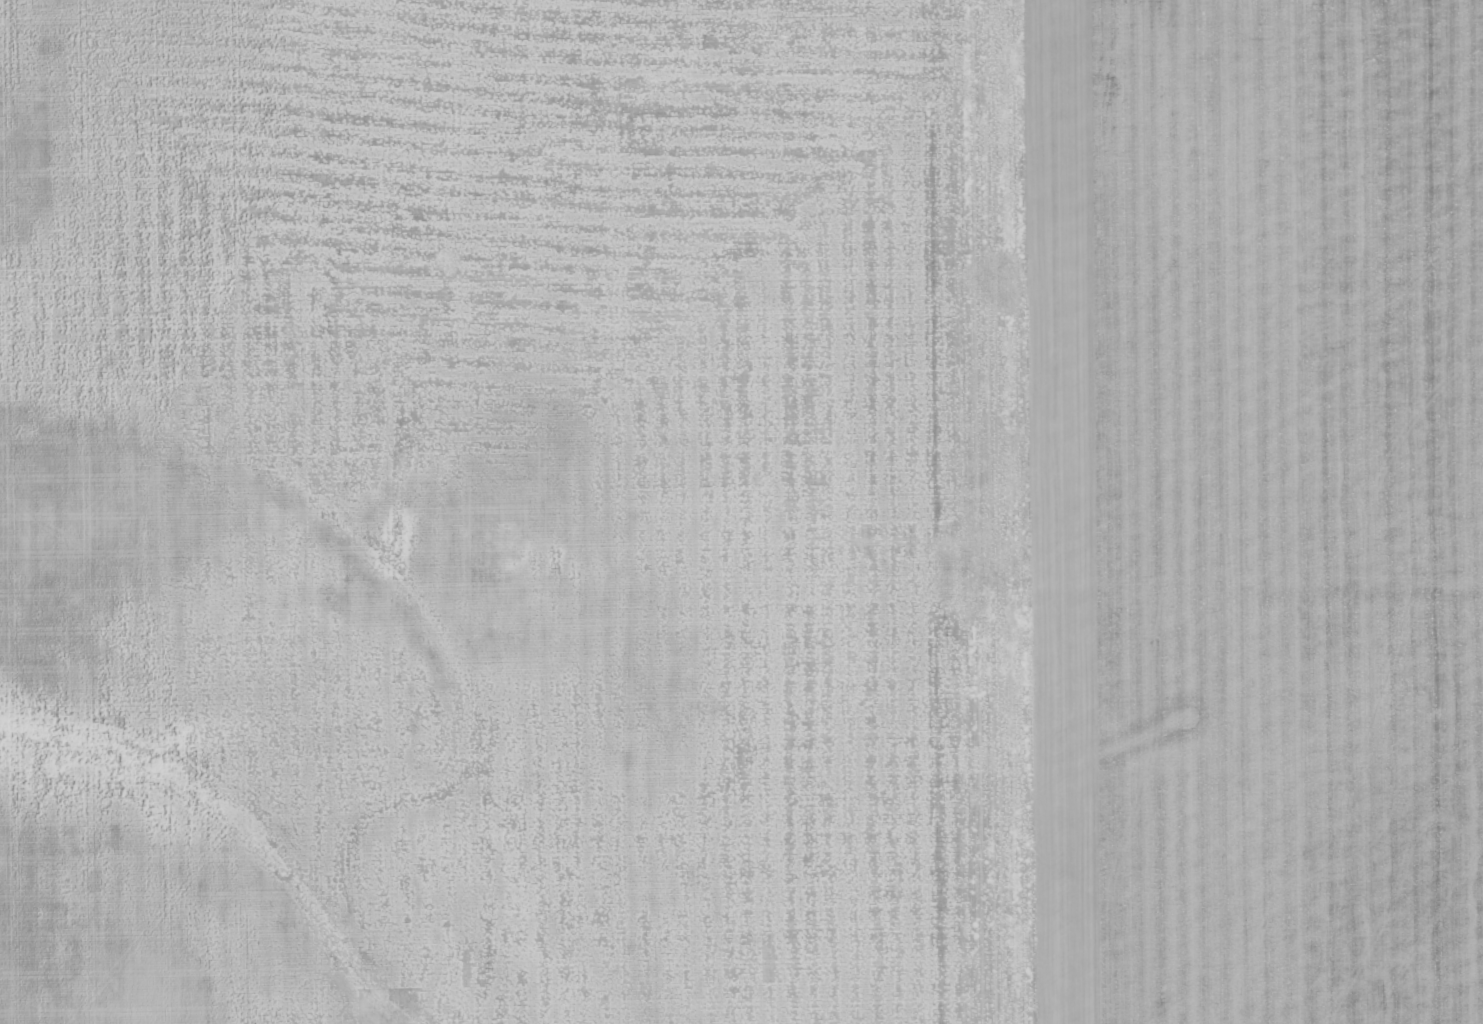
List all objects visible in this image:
road: (741, 564)

